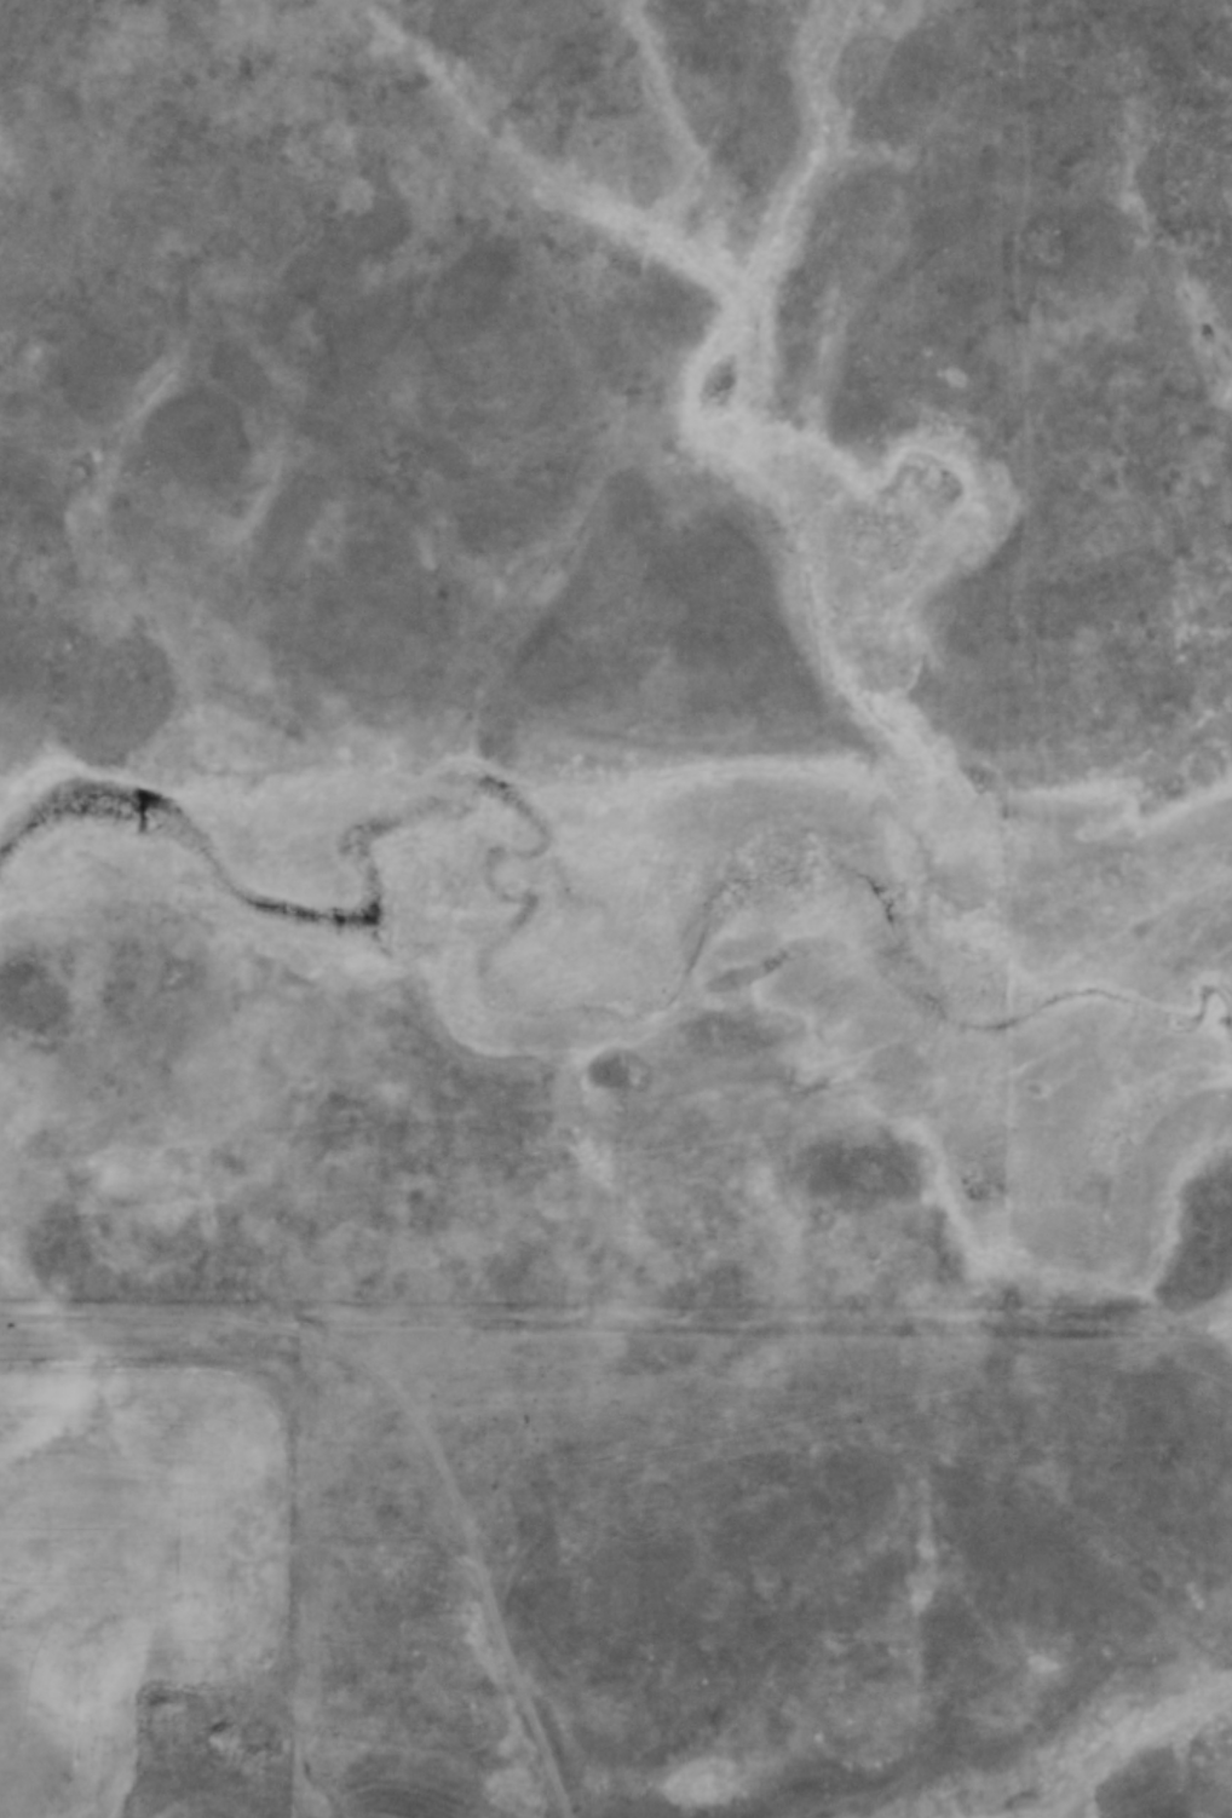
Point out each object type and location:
road: (413, 1408)

